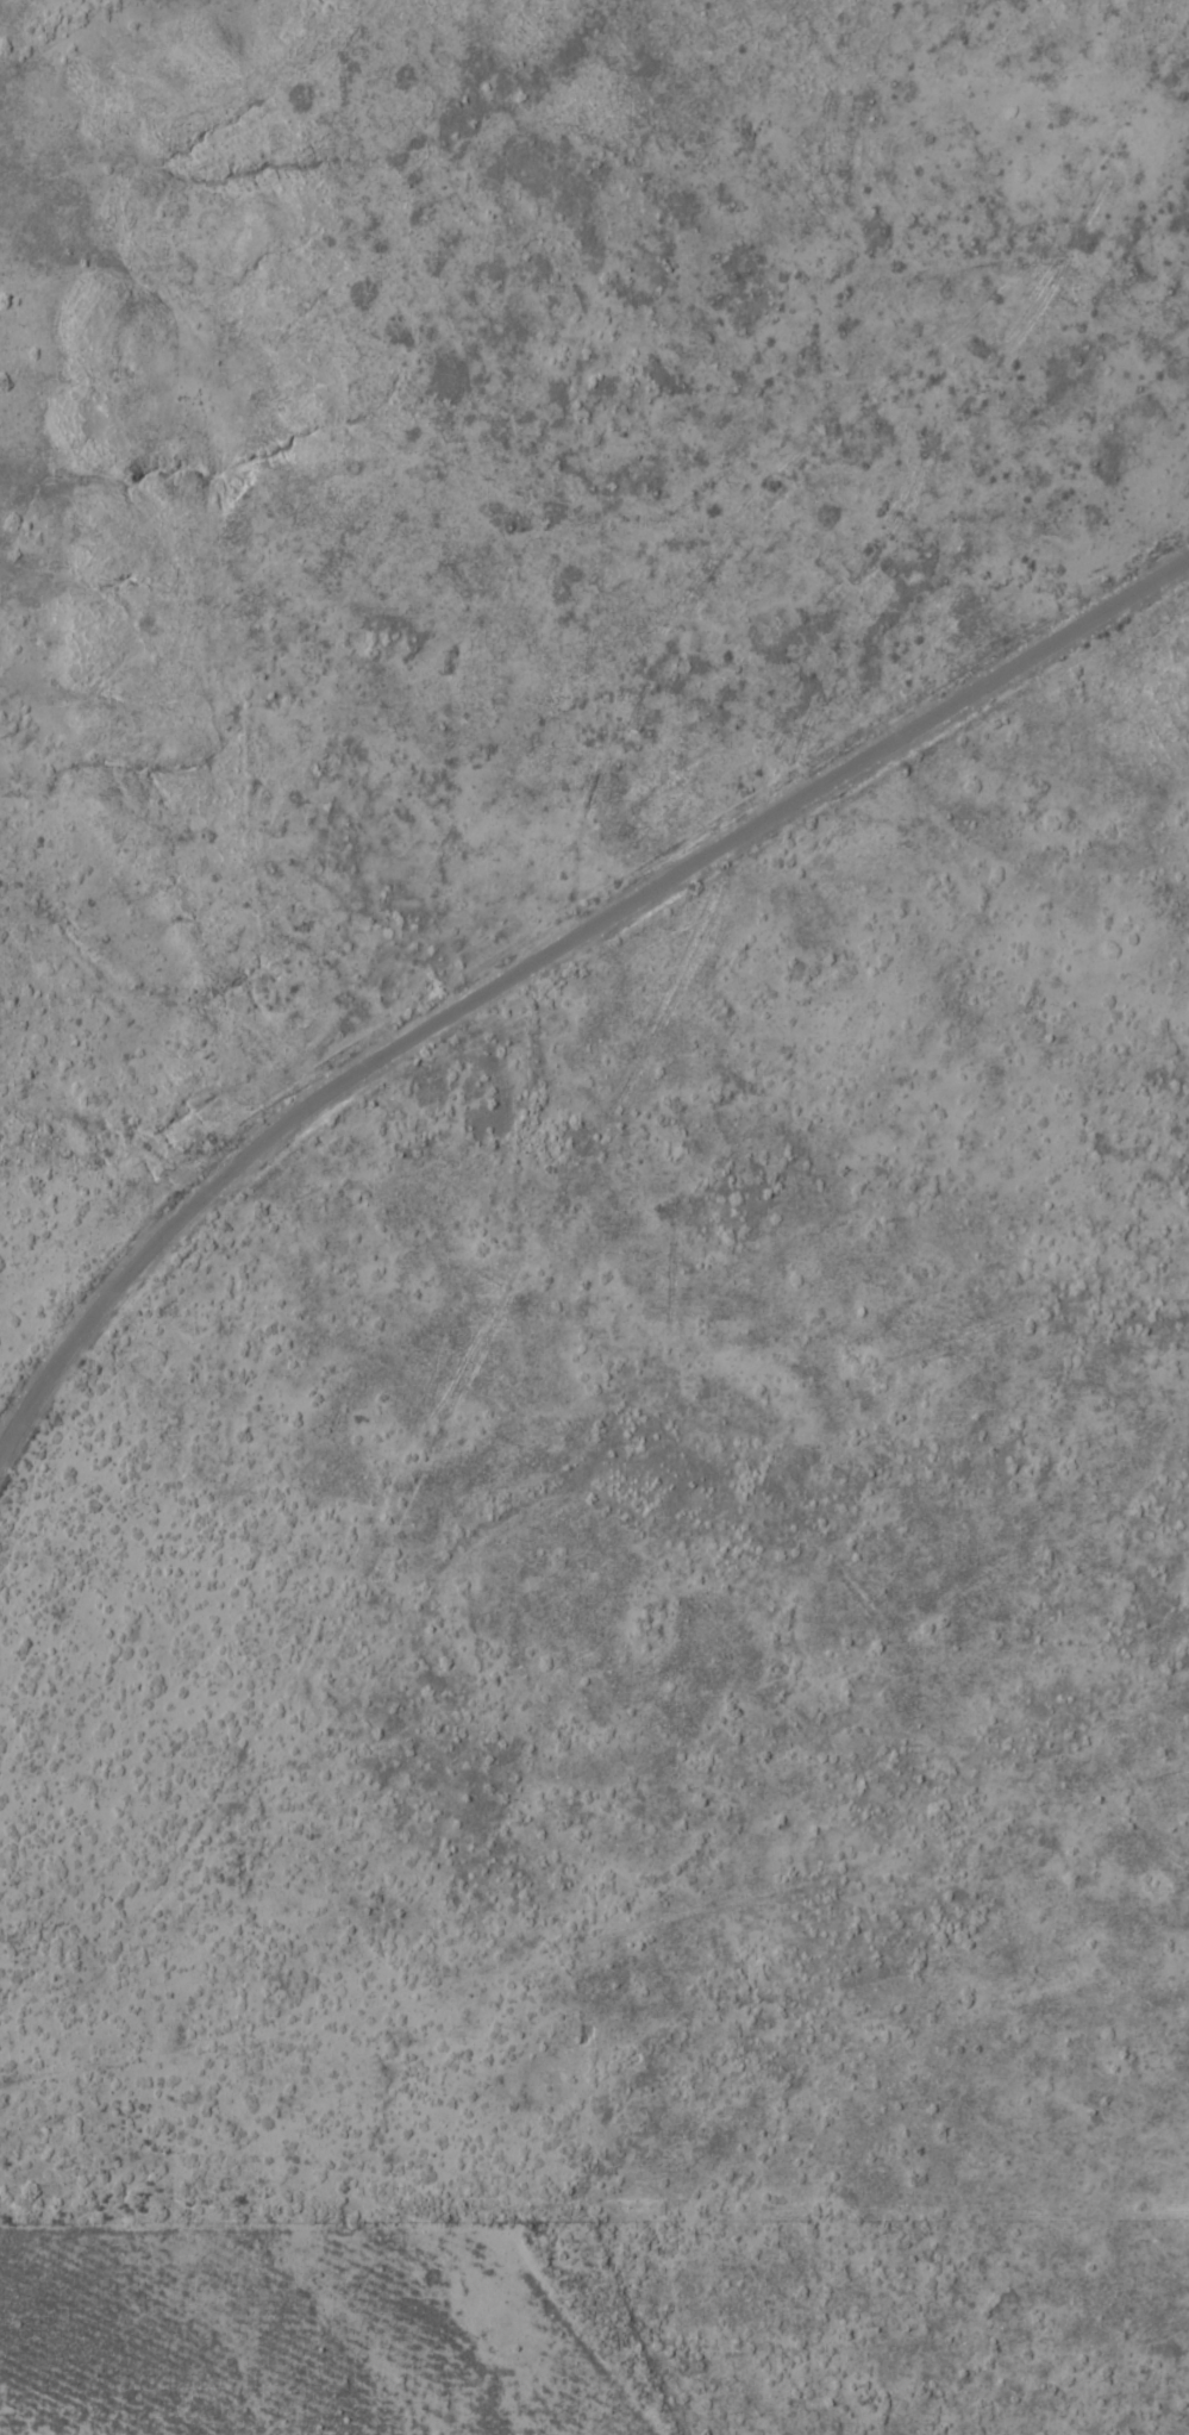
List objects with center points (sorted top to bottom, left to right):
road: (549, 949)

